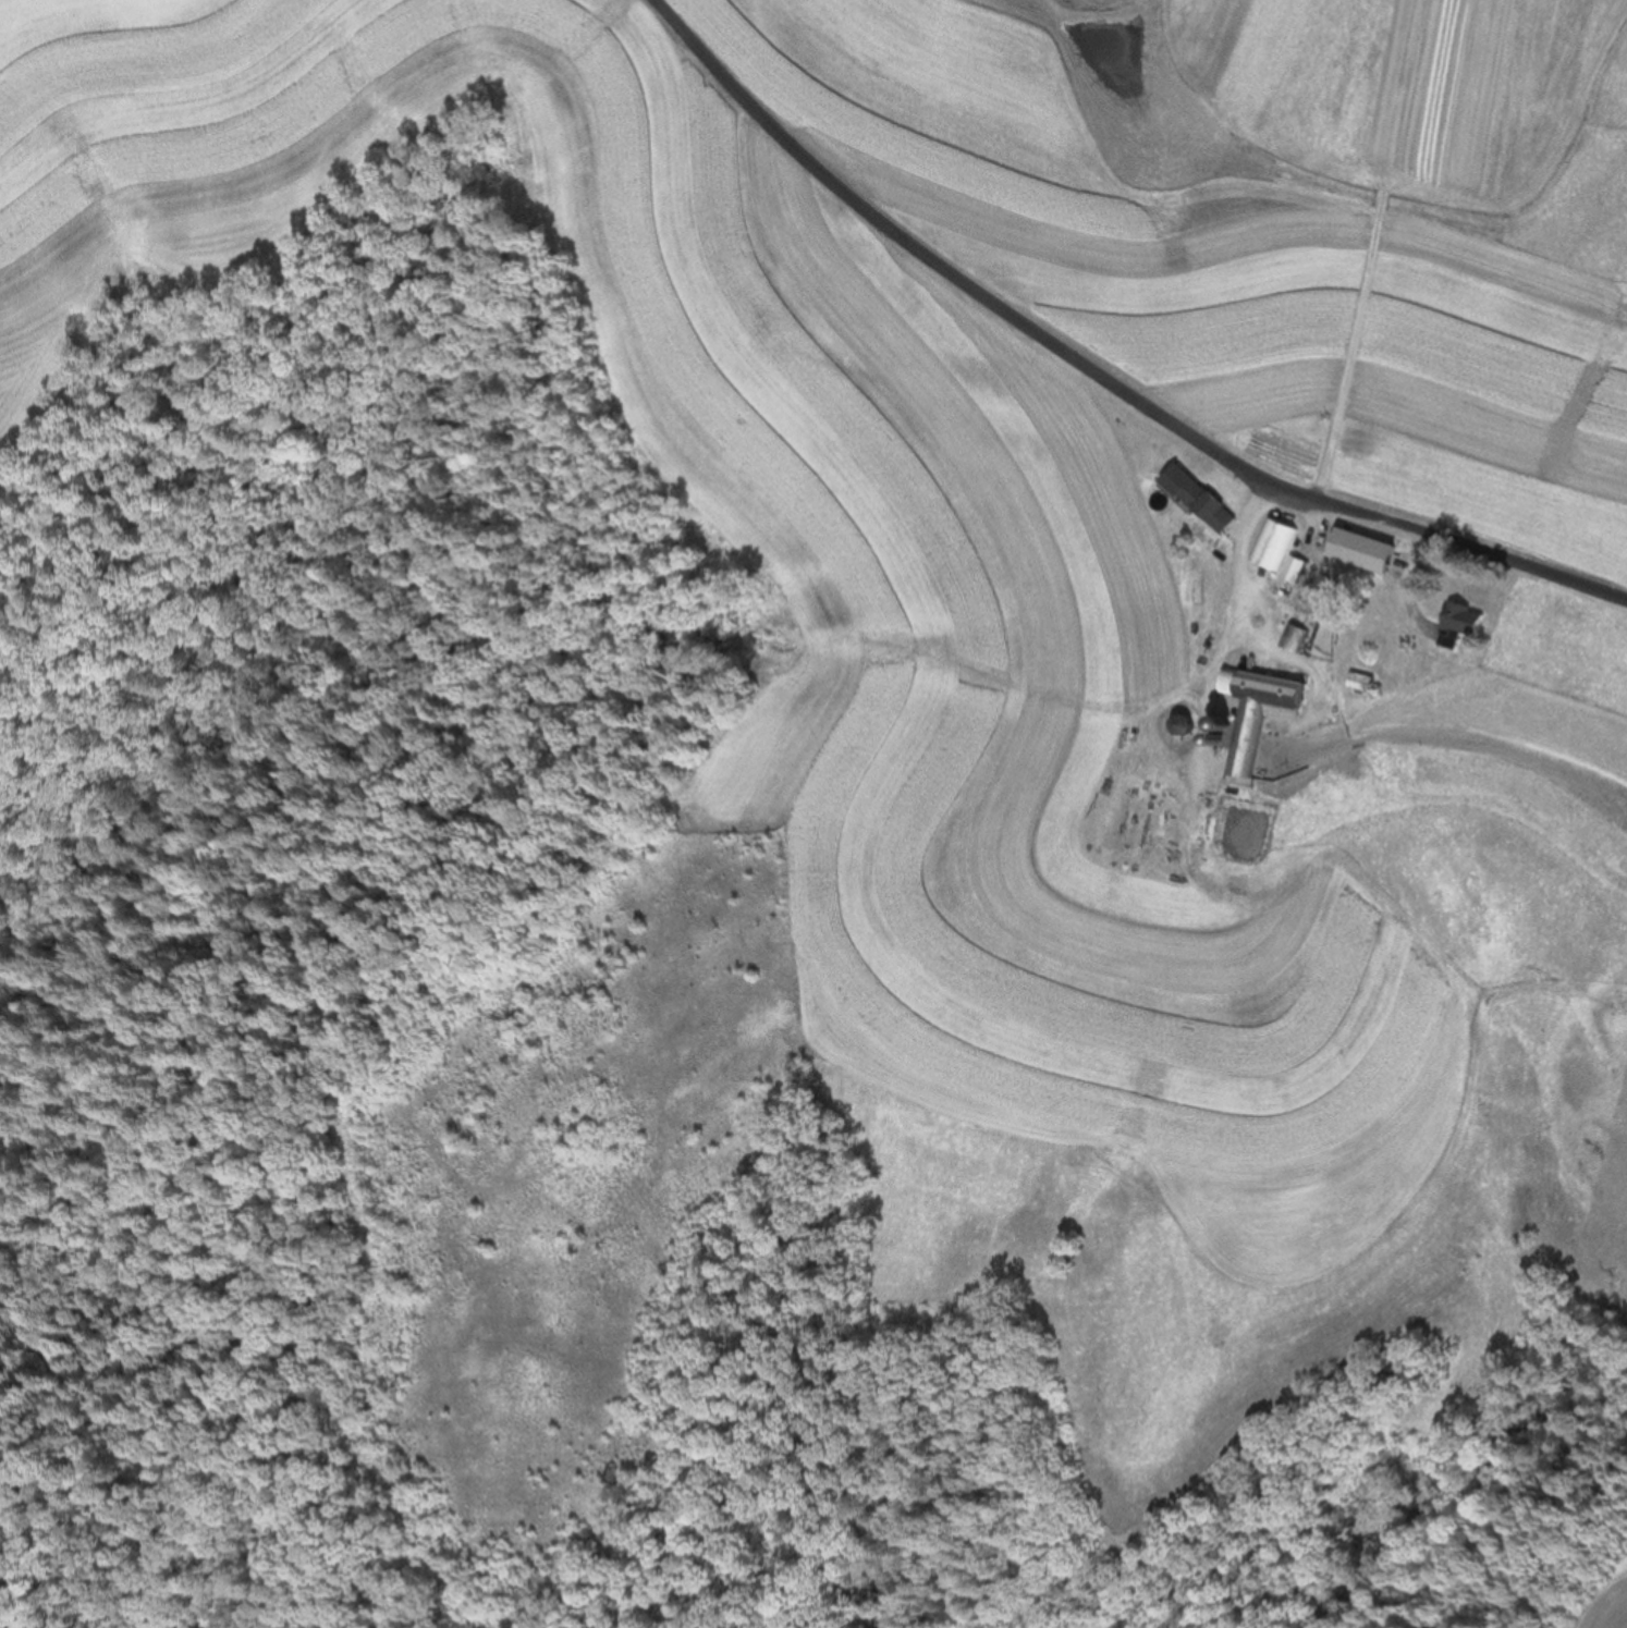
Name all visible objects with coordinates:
road: (1093, 374)
road: (1238, 624)

